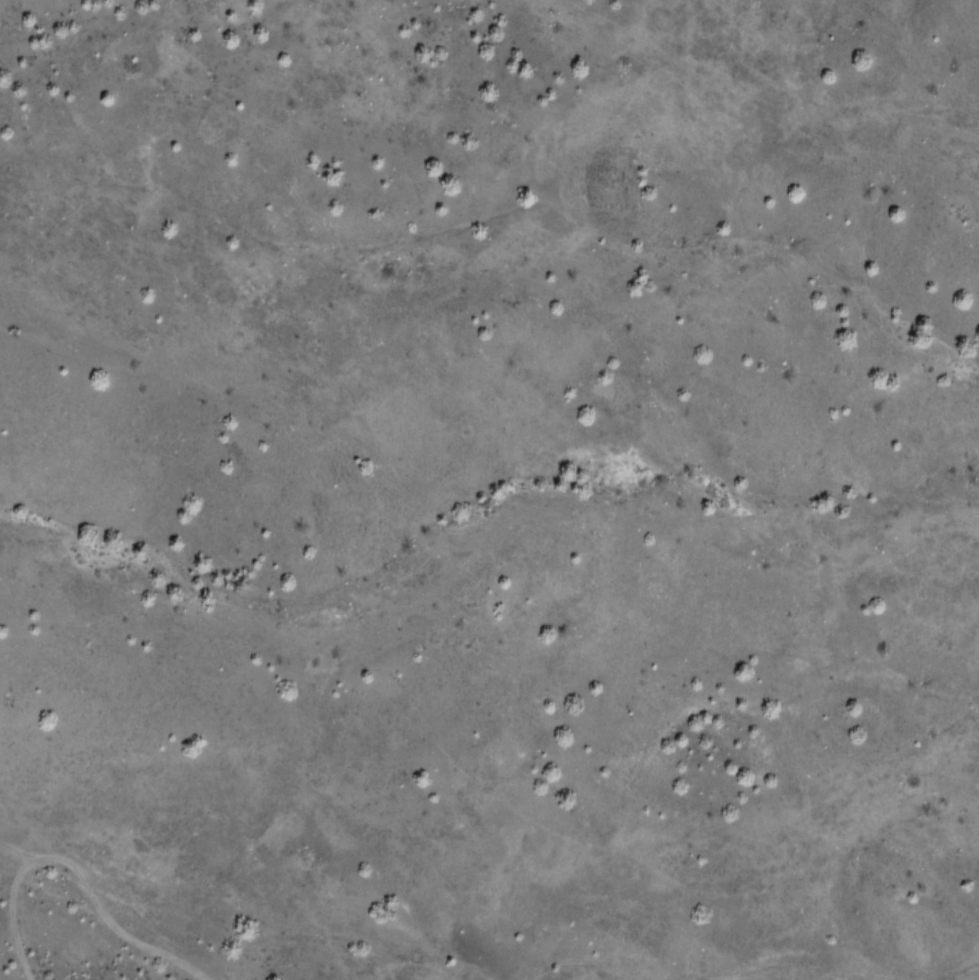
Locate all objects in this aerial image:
road: (72, 868)

